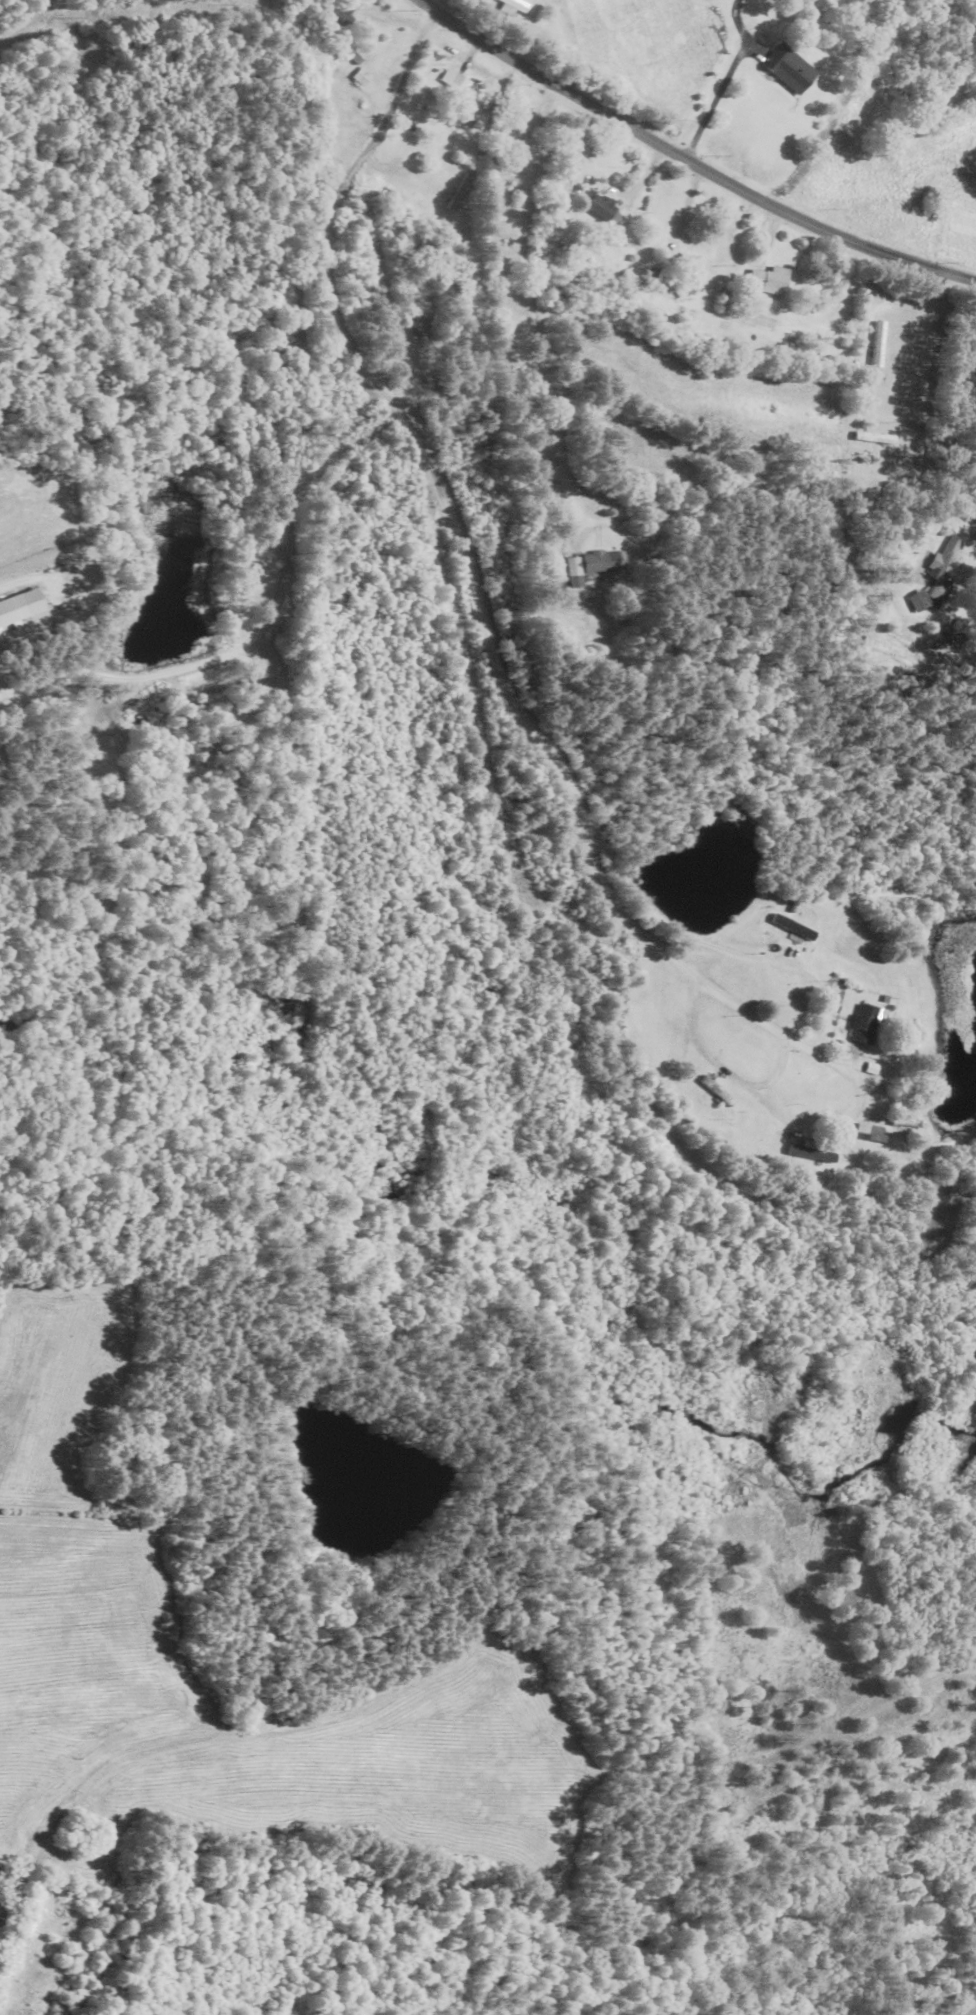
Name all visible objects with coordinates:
road: (24, 19)
building: (791, 69)
building: (362, 76)
building: (466, 91)
road: (715, 97)
road: (689, 159)
building: (462, 191)
building: (603, 207)
building: (500, 232)
building: (772, 280)
building: (877, 349)
road: (434, 352)
road: (723, 372)
building: (602, 561)
building: (576, 572)
building: (861, 1025)
building: (868, 1134)
building: (809, 1155)

